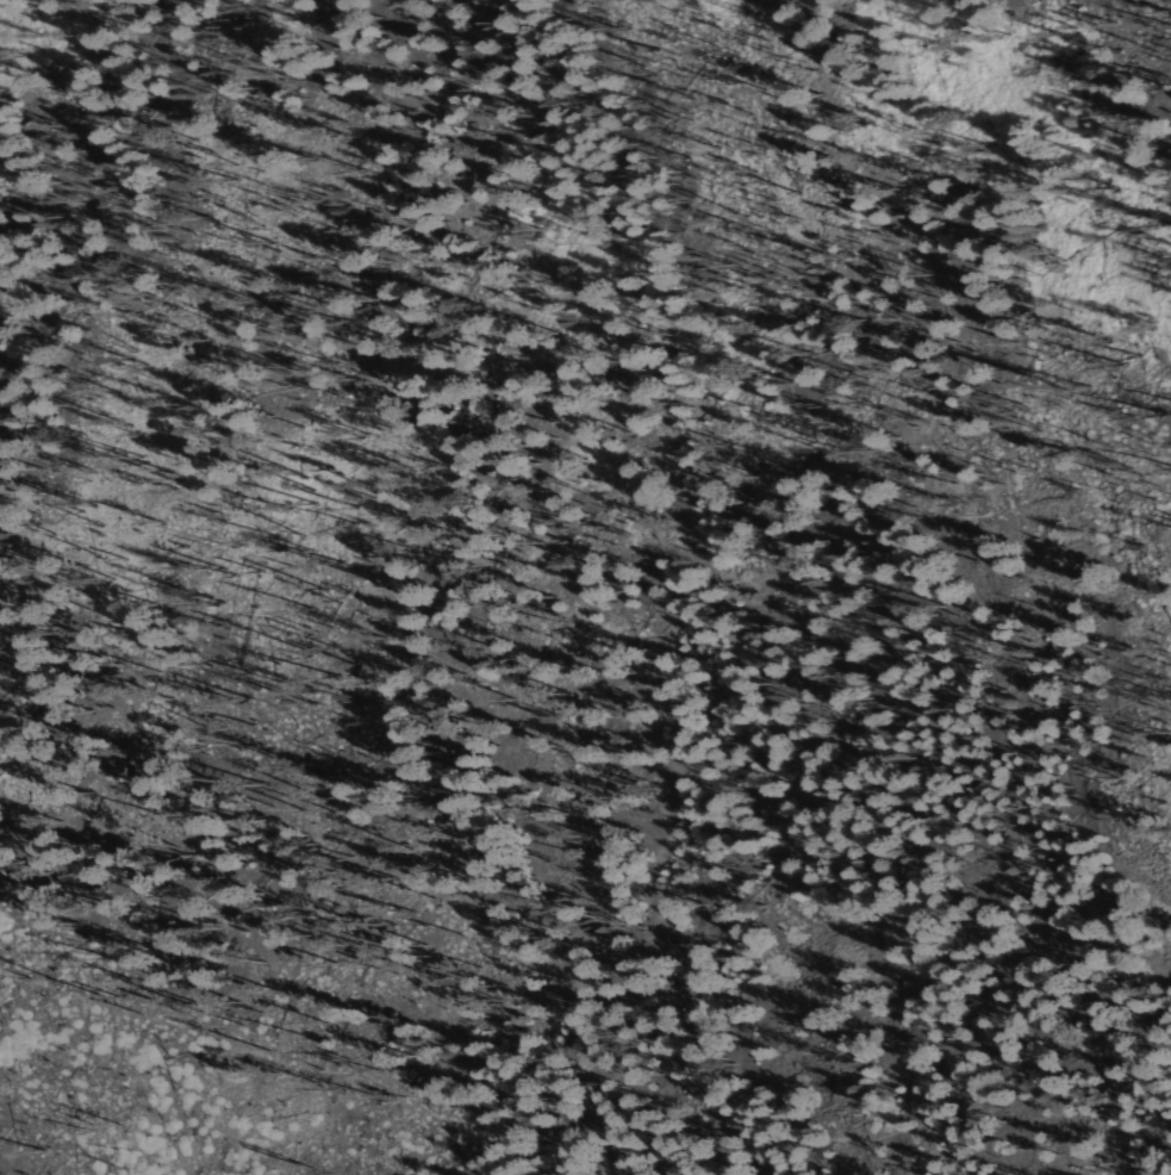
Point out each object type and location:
road: (294, 1065)
road: (887, 1127)

